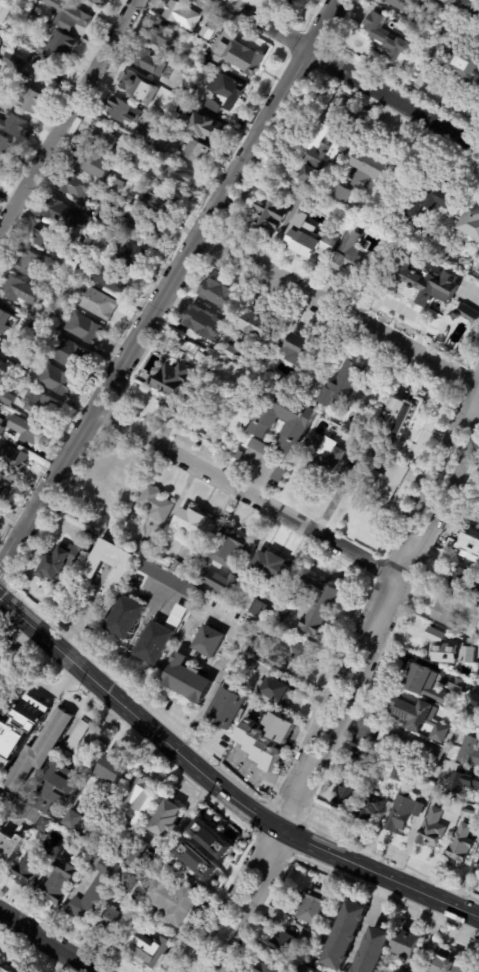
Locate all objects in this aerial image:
building: (271, 0)
building: (297, 1)
building: (99, 2)
building: (410, 4)
building: (459, 6)
building: (5, 10)
building: (180, 13)
building: (69, 14)
road: (263, 27)
road: (327, 27)
building: (208, 36)
building: (389, 37)
building: (167, 39)
building: (8, 40)
building: (64, 44)
building: (36, 45)
building: (242, 56)
building: (181, 57)
building: (0, 59)
building: (463, 61)
building: (150, 62)
building: (14, 63)
building: (205, 64)
building: (214, 69)
building: (47, 70)
building: (8, 74)
building: (136, 84)
building: (227, 93)
building: (30, 100)
road: (395, 100)
building: (125, 111)
building: (162, 113)
road: (69, 116)
building: (180, 122)
building: (14, 124)
building: (213, 128)
building: (143, 133)
building: (105, 138)
building: (160, 144)
building: (6, 147)
building: (143, 147)
building: (196, 149)
building: (328, 151)
building: (96, 164)
building: (1, 169)
building: (378, 170)
building: (176, 175)
building: (78, 187)
building: (118, 187)
building: (300, 189)
building: (344, 194)
building: (351, 195)
building: (434, 197)
building: (129, 198)
building: (161, 200)
building: (272, 214)
building: (64, 216)
building: (107, 217)
building: (349, 217)
building: (149, 227)
building: (473, 227)
building: (48, 238)
building: (87, 240)
building: (313, 243)
building: (136, 255)
building: (447, 255)
building: (357, 258)
building: (28, 263)
building: (71, 266)
building: (464, 266)
building: (85, 271)
building: (114, 278)
building: (427, 282)
building: (79, 286)
building: (22, 291)
building: (56, 292)
building: (220, 293)
building: (100, 304)
road: (159, 309)
road: (340, 314)
building: (467, 314)
building: (204, 321)
building: (6, 322)
building: (260, 325)
building: (34, 328)
building: (85, 328)
building: (0, 339)
building: (39, 349)
building: (301, 350)
building: (8, 351)
building: (231, 352)
building: (73, 356)
building: (7, 367)
building: (175, 368)
building: (58, 381)
building: (349, 382)
building: (0, 390)
building: (9, 399)
building: (207, 399)
building: (43, 406)
building: (289, 422)
building: (403, 422)
building: (2, 426)
building: (26, 432)
building: (264, 450)
building: (239, 456)
building: (371, 456)
building: (326, 457)
building: (15, 459)
building: (282, 474)
building: (387, 483)
building: (5, 484)
building: (108, 491)
road: (250, 497)
building: (158, 503)
building: (478, 521)
building: (195, 523)
building: (229, 547)
building: (148, 548)
building: (472, 548)
building: (68, 557)
building: (166, 562)
building: (277, 566)
building: (92, 569)
building: (184, 570)
building: (464, 582)
building: (227, 592)
building: (206, 598)
building: (456, 610)
building: (262, 611)
building: (323, 611)
building: (176, 614)
building: (282, 614)
building: (128, 619)
road: (225, 622)
building: (210, 640)
building: (254, 643)
road: (14, 647)
building: (447, 648)
building: (291, 653)
building: (243, 660)
road: (338, 676)
building: (186, 679)
building: (427, 683)
building: (462, 686)
building: (277, 689)
road: (350, 701)
building: (474, 701)
building: (0, 702)
building: (228, 709)
building: (32, 712)
building: (422, 716)
road: (357, 725)
building: (280, 727)
building: (80, 735)
building: (411, 744)
building: (261, 745)
building: (44, 750)
building: (471, 750)
road: (202, 751)
building: (68, 754)
building: (95, 758)
building: (370, 760)
building: (118, 769)
building: (400, 774)
road: (268, 779)
building: (463, 784)
building: (59, 787)
road: (220, 789)
building: (346, 789)
building: (144, 805)
building: (371, 806)
building: (404, 809)
building: (0, 814)
building: (33, 815)
building: (170, 819)
building: (75, 820)
building: (432, 829)
building: (210, 838)
building: (74, 840)
building: (461, 843)
building: (11, 846)
building: (209, 850)
building: (141, 854)
building: (195, 860)
building: (33, 865)
building: (478, 867)
building: (61, 881)
building: (125, 884)
building: (97, 889)
building: (175, 901)
building: (313, 905)
building: (112, 920)
building: (137, 921)
road: (369, 921)
building: (346, 935)
building: (311, 937)
road: (46, 943)
building: (412, 944)
building: (287, 946)
building: (323, 949)
building: (376, 950)
building: (148, 951)
building: (452, 963)
building: (8, 964)
building: (272, 966)
building: (314, 970)
building: (395, 971)
building: (398, 971)

